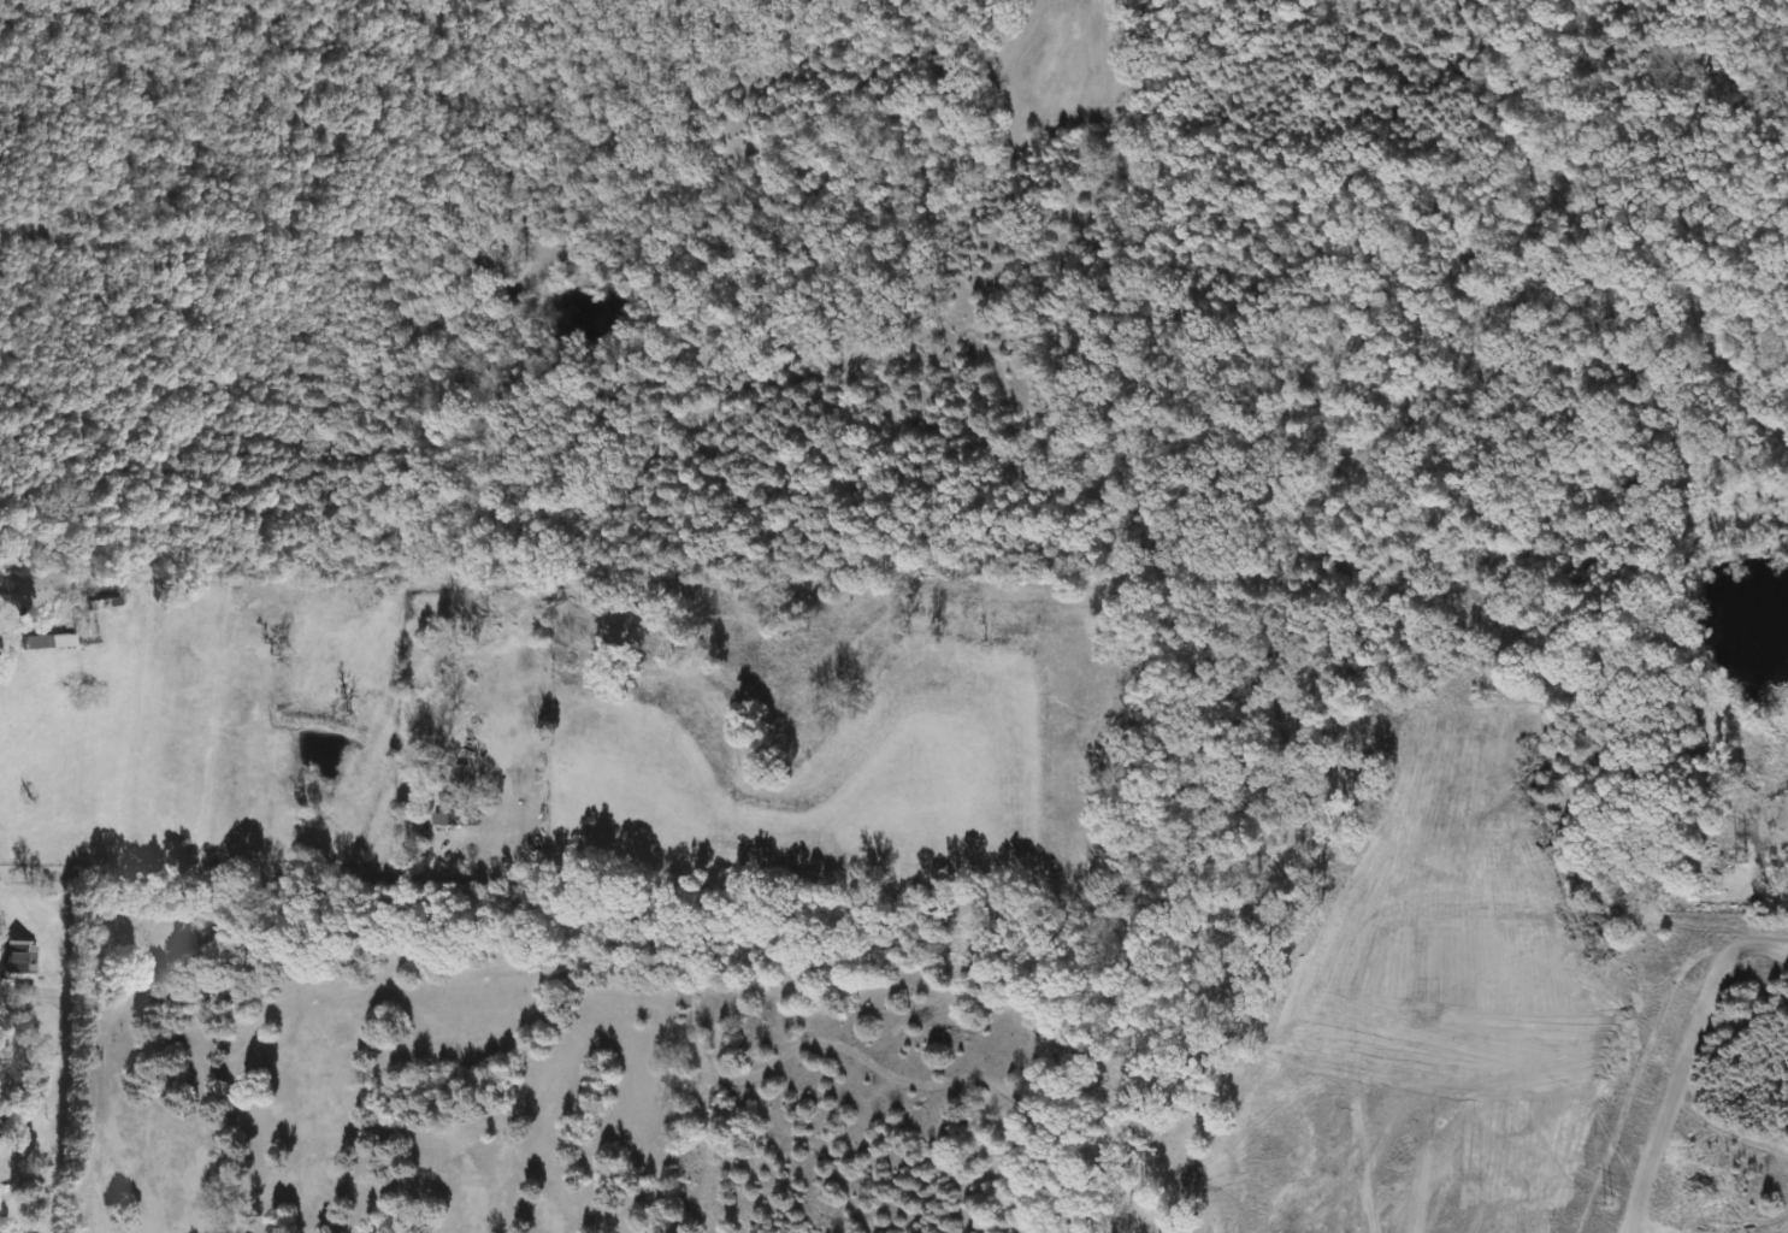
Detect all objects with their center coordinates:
building: (453, 801)
road: (184, 877)
road: (67, 943)
building: (20, 956)

